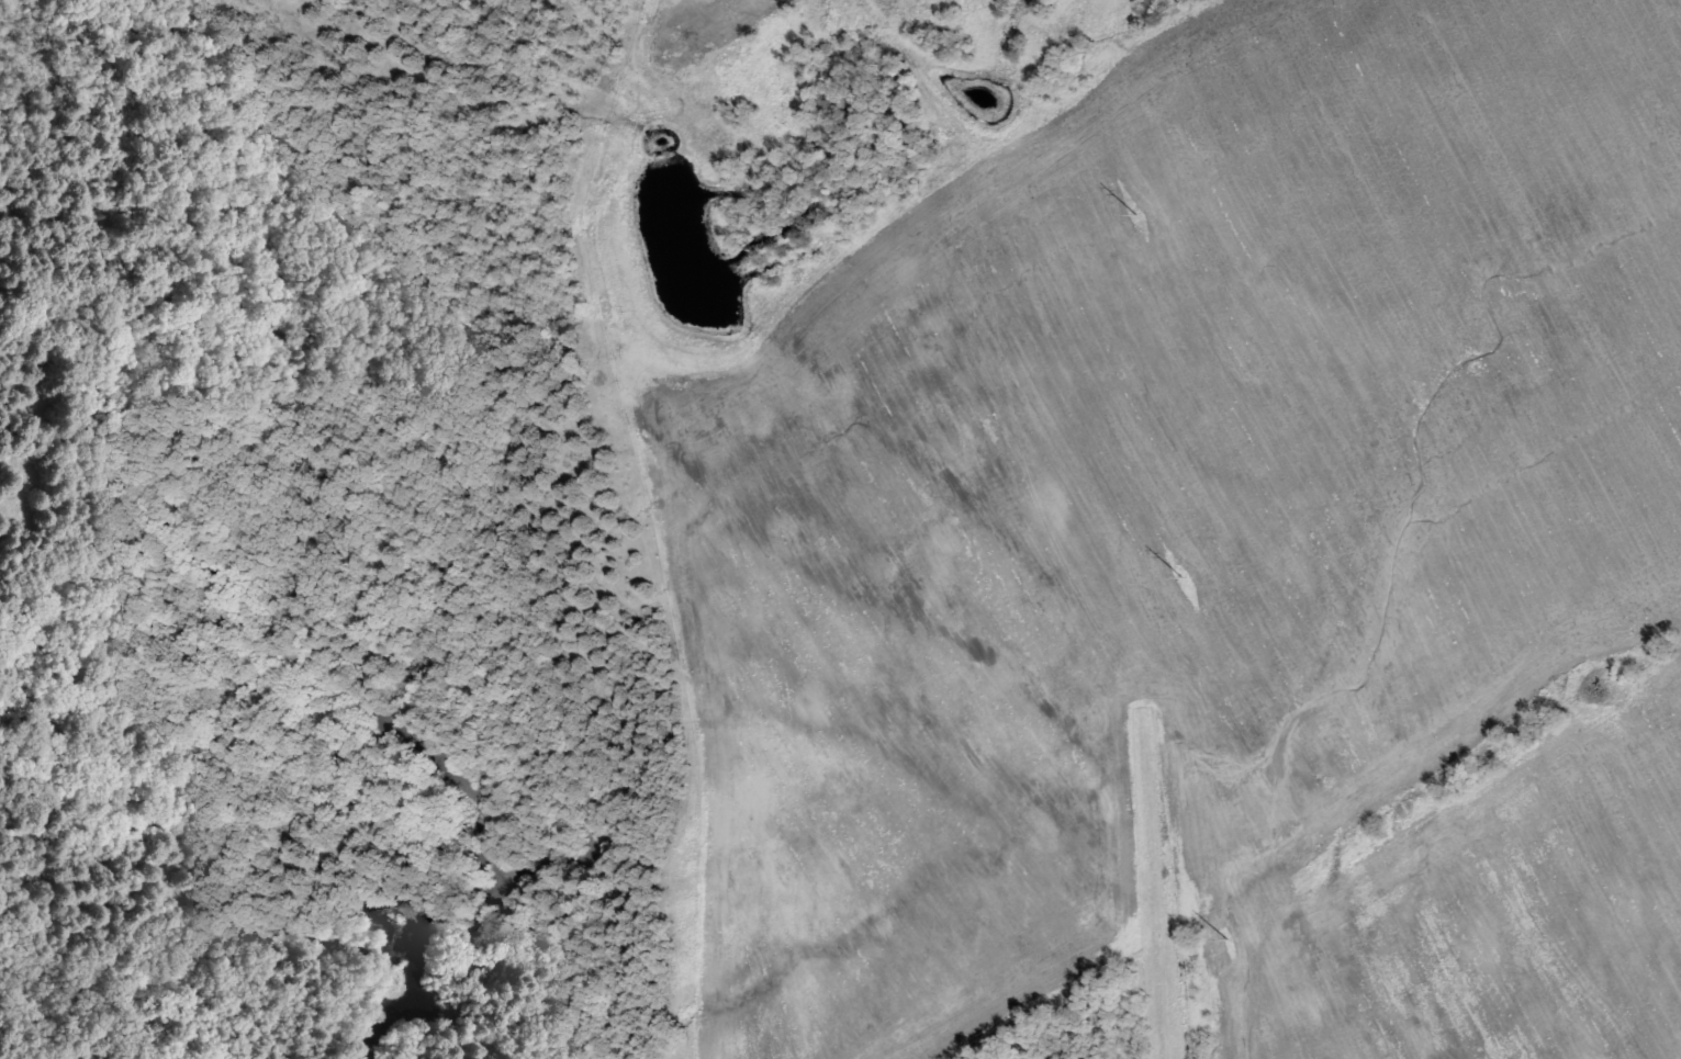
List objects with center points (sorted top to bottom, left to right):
power tower: (1136, 214)
power tower: (1181, 576)
power tower: (1226, 939)

